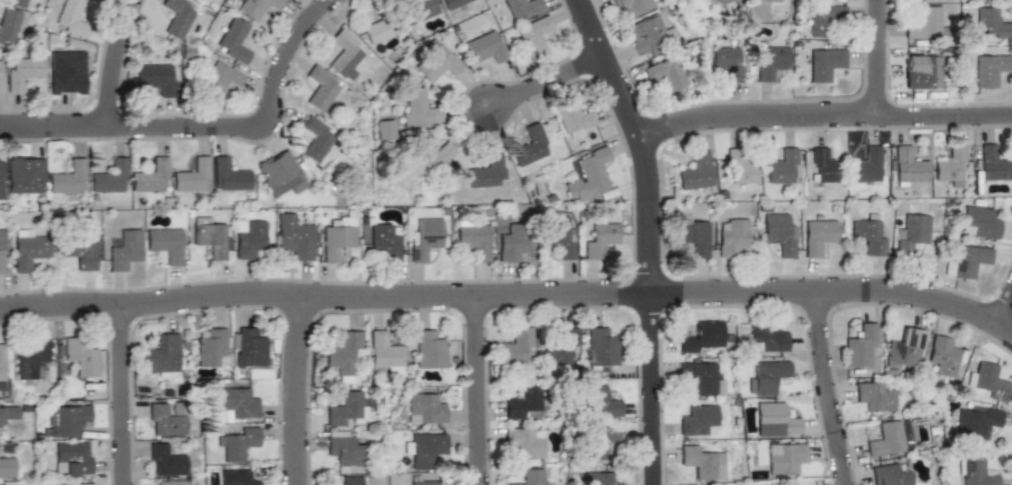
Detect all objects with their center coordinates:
building: (197, 0)
building: (766, 0)
building: (16, 2)
building: (729, 2)
building: (451, 3)
building: (633, 6)
building: (254, 7)
building: (522, 8)
building: (416, 9)
building: (176, 17)
building: (70, 18)
building: (823, 20)
building: (921, 23)
building: (988, 23)
building: (8, 25)
building: (378, 29)
building: (534, 36)
building: (650, 36)
building: (232, 39)
building: (484, 47)
building: (343, 52)
road: (871, 58)
building: (435, 60)
building: (728, 62)
building: (770, 62)
building: (823, 63)
road: (119, 66)
building: (923, 70)
building: (988, 70)
building: (23, 72)
building: (66, 73)
building: (667, 73)
building: (2, 76)
building: (156, 78)
building: (219, 78)
road: (541, 81)
building: (319, 88)
building: (418, 109)
building: (570, 116)
road: (881, 116)
road: (693, 121)
building: (381, 131)
road: (217, 135)
building: (313, 138)
building: (527, 148)
building: (430, 154)
building: (864, 164)
building: (781, 165)
building: (823, 165)
building: (949, 165)
building: (992, 165)
building: (907, 167)
building: (738, 169)
building: (484, 171)
building: (694, 171)
building: (279, 173)
building: (228, 174)
building: (26, 175)
building: (192, 175)
building: (587, 175)
building: (110, 176)
building: (151, 176)
building: (69, 178)
building: (1, 179)
building: (978, 223)
building: (911, 232)
building: (558, 235)
road: (648, 235)
building: (692, 235)
building: (777, 235)
building: (731, 236)
building: (817, 236)
building: (209, 237)
building: (294, 237)
building: (248, 238)
building: (423, 238)
building: (867, 238)
building: (337, 239)
building: (473, 240)
building: (600, 240)
building: (384, 241)
building: (512, 242)
building: (166, 244)
building: (27, 249)
building: (2, 251)
building: (123, 251)
building: (79, 252)
building: (964, 261)
road: (511, 303)
road: (1001, 307)
building: (700, 335)
building: (766, 337)
building: (515, 346)
building: (247, 347)
building: (559, 347)
building: (903, 347)
building: (211, 348)
building: (600, 348)
building: (859, 348)
building: (429, 350)
building: (384, 352)
building: (342, 353)
building: (32, 356)
building: (80, 356)
building: (160, 356)
building: (942, 356)
building: (4, 362)
building: (766, 375)
building: (702, 378)
building: (988, 380)
road: (829, 387)
road: (299, 395)
road: (481, 395)
building: (874, 396)
road: (128, 400)
building: (521, 400)
building: (601, 401)
building: (237, 403)
building: (346, 408)
building: (424, 408)
building: (9, 412)
building: (66, 420)
building: (165, 420)
building: (699, 420)
building: (775, 420)
building: (0, 422)
building: (976, 422)
building: (885, 439)
building: (601, 441)
building: (524, 443)
building: (239, 444)
building: (343, 445)
building: (424, 449)
building: (785, 457)
building: (73, 459)
building: (165, 461)
building: (700, 463)
building: (7, 466)
building: (975, 472)
building: (889, 475)
building: (528, 477)
building: (236, 478)
building: (598, 478)
building: (350, 481)
building: (170, 482)
building: (421, 482)
building: (70, 484)

